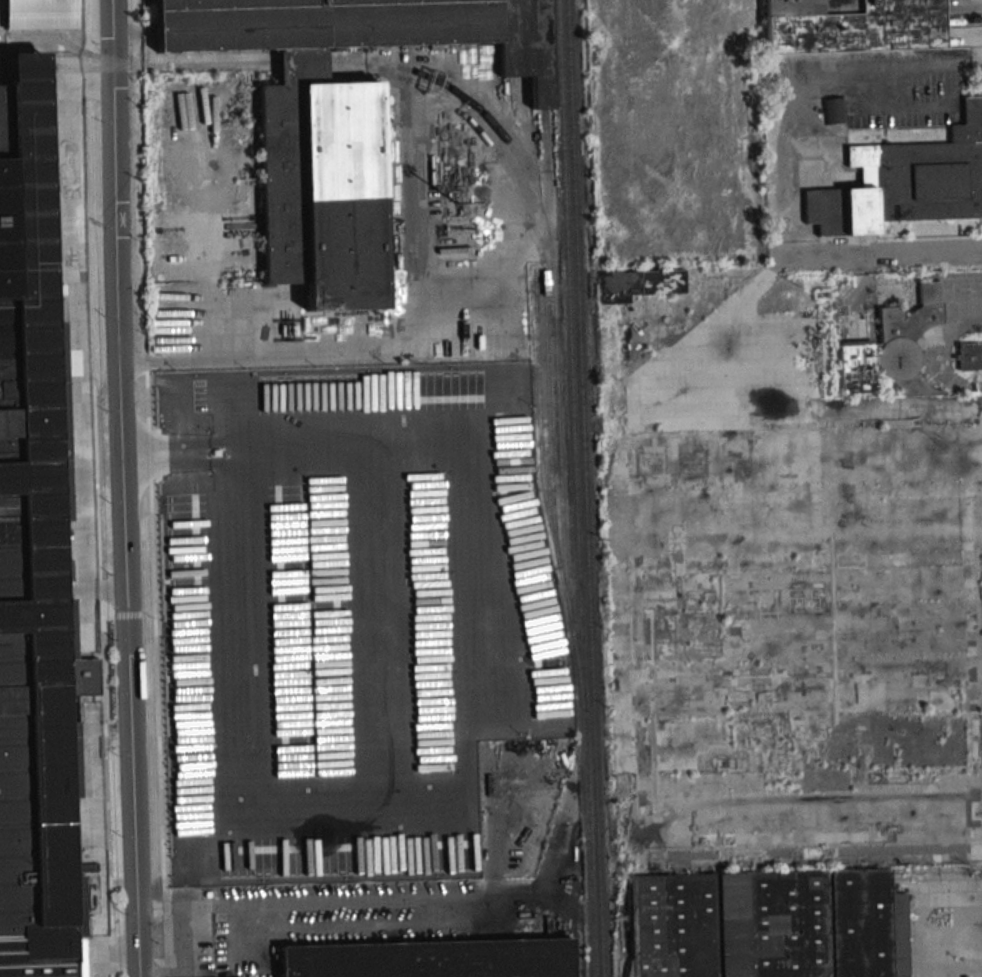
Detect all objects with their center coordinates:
building: (41, 14)
building: (851, 24)
building: (317, 29)
building: (524, 46)
road: (194, 63)
road: (302, 64)
road: (966, 64)
road: (858, 105)
building: (835, 110)
building: (906, 182)
building: (322, 195)
road: (874, 258)
building: (639, 284)
road: (501, 313)
building: (890, 345)
building: (969, 356)
railway: (549, 408)
railway: (560, 434)
railway: (542, 477)
road: (125, 488)
road: (150, 488)
railway: (576, 488)
railway: (586, 488)
building: (32, 558)
road: (208, 906)
road: (244, 918)
road: (941, 923)
building: (762, 925)
road: (488, 926)
road: (204, 934)
building: (432, 960)
road: (209, 966)

